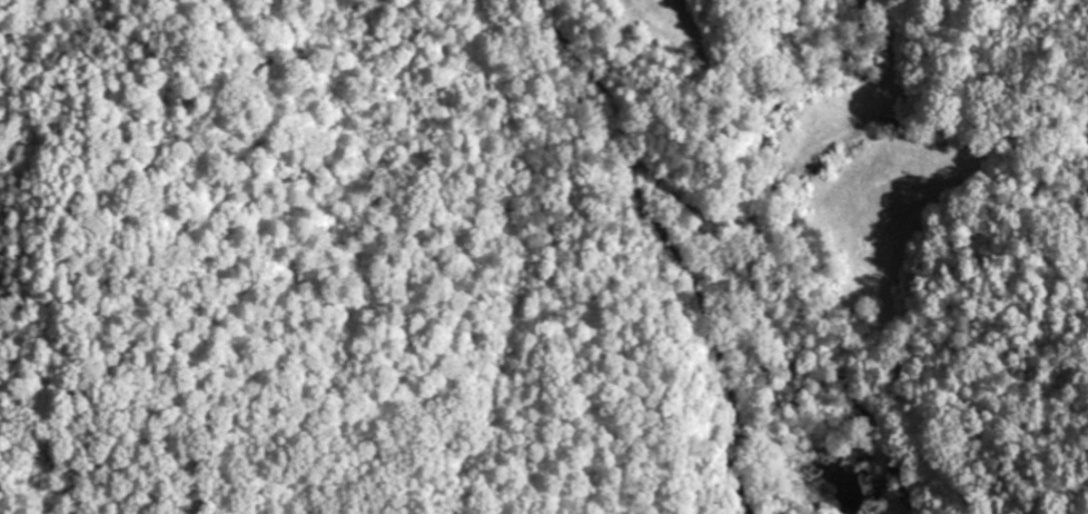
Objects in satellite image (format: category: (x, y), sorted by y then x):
road: (653, 131)
road: (874, 138)
road: (870, 367)

